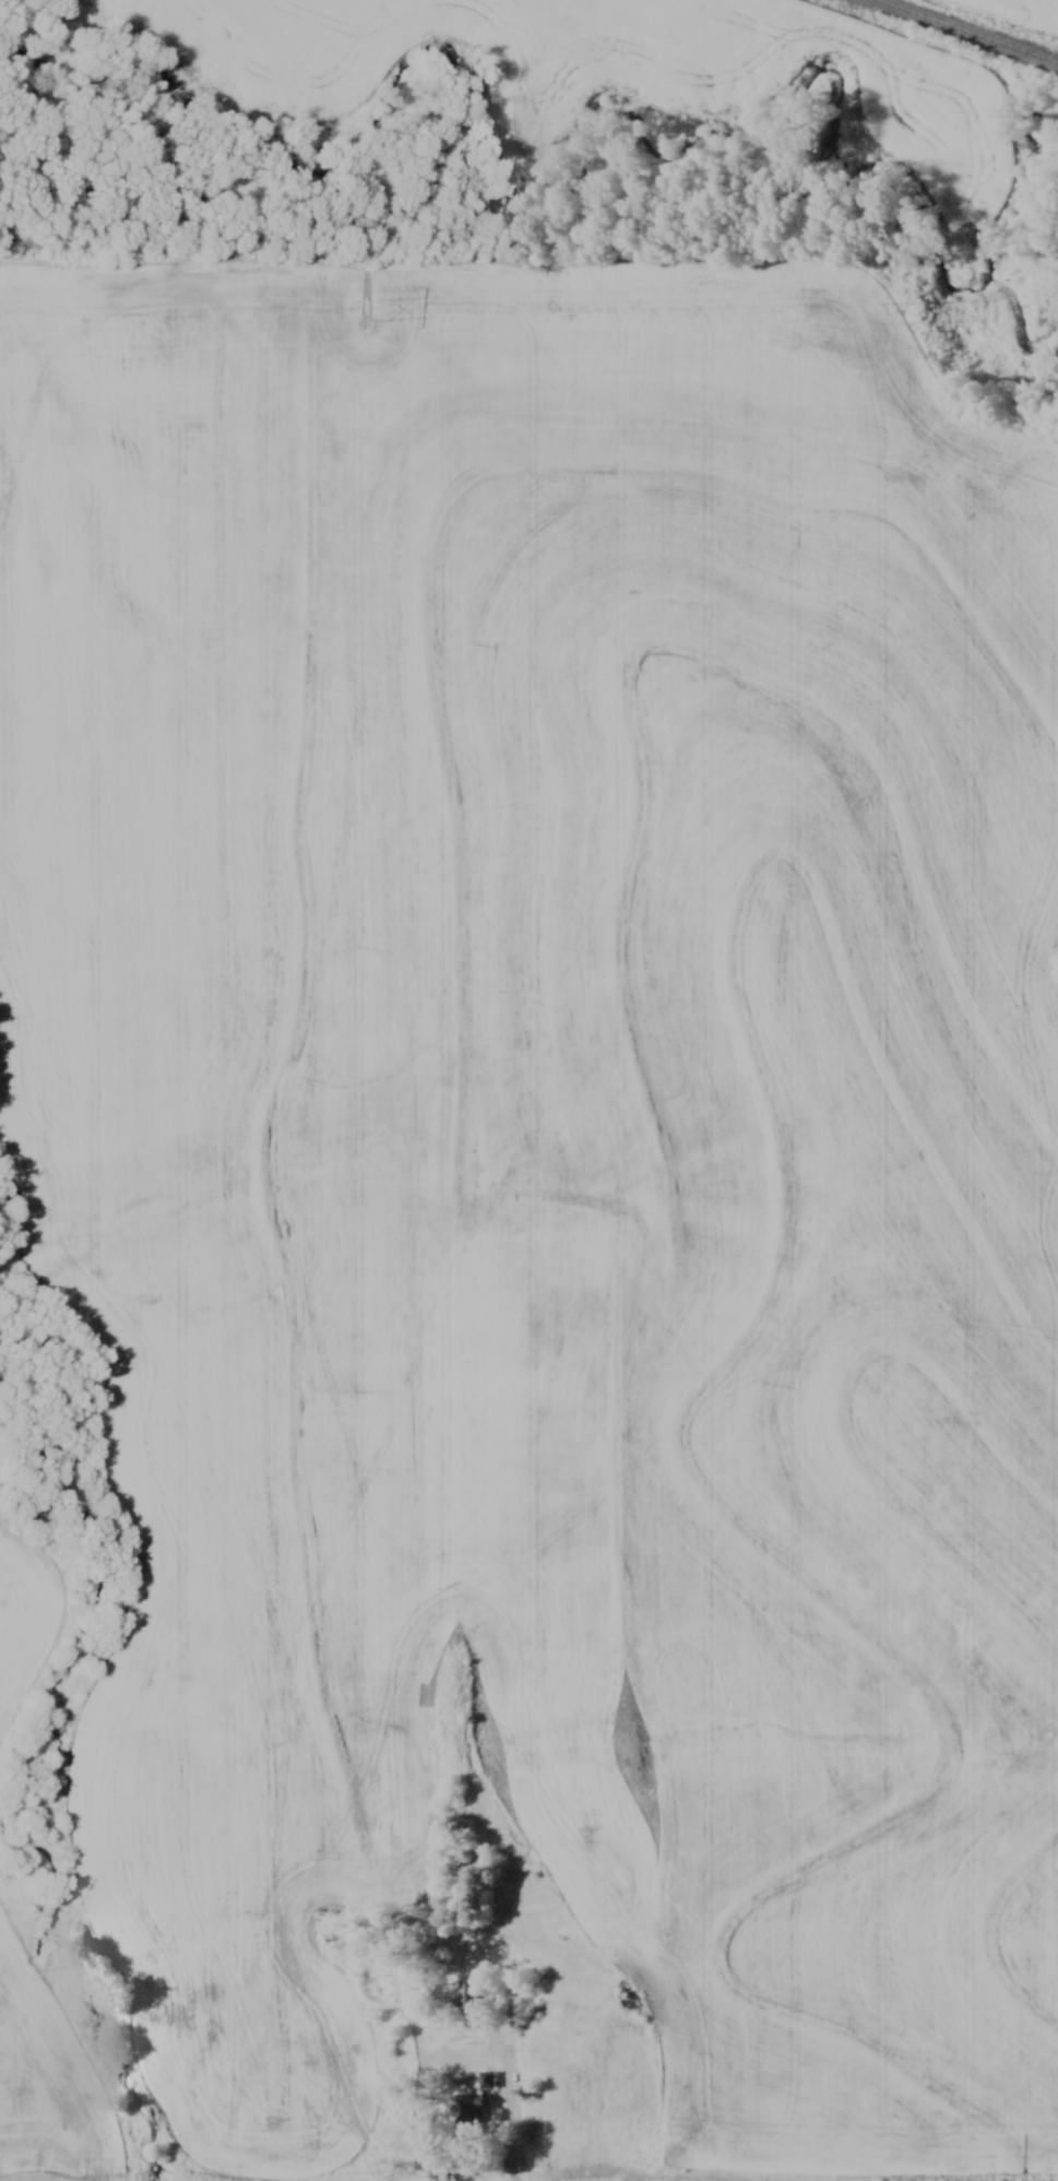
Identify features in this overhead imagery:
railway: (973, 29)
power tower: (368, 311)
power tower: (907, 315)
building: (469, 1989)
road: (509, 2083)
building: (474, 2106)

